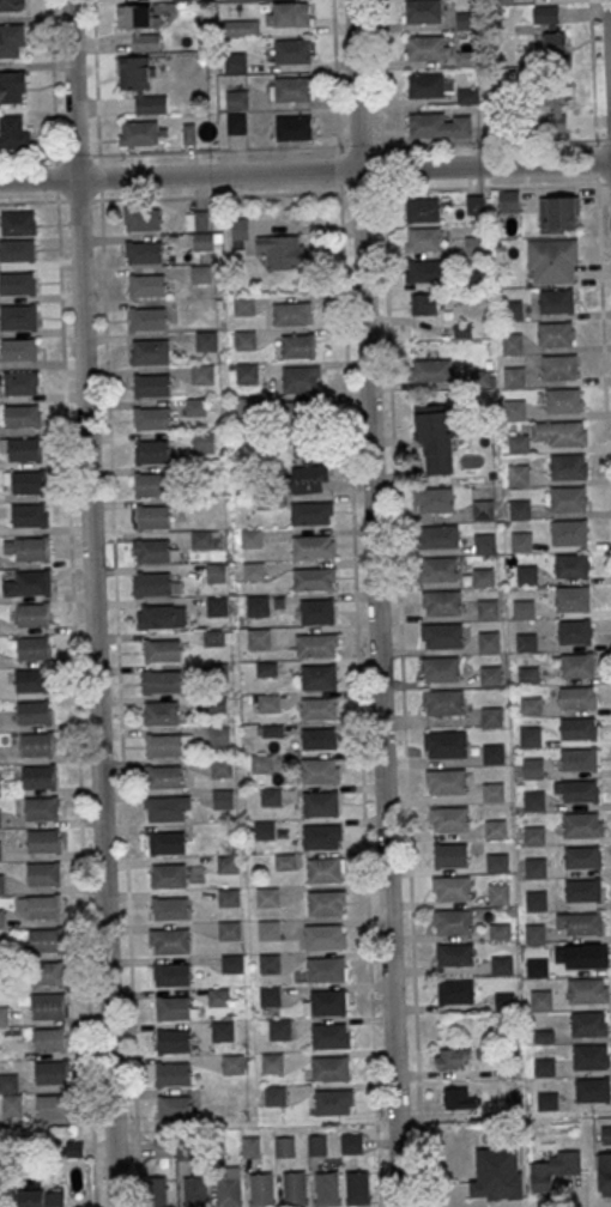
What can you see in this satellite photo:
building: (181, 0)
building: (10, 5)
building: (423, 11)
building: (292, 14)
building: (140, 26)
building: (241, 28)
building: (550, 34)
building: (12, 40)
building: (428, 48)
building: (292, 50)
building: (466, 57)
building: (236, 62)
road: (379, 73)
road: (96, 78)
building: (430, 84)
building: (140, 85)
building: (12, 87)
building: (292, 89)
road: (593, 91)
building: (467, 95)
building: (238, 99)
road: (54, 101)
building: (550, 110)
building: (236, 123)
building: (440, 125)
building: (294, 127)
building: (13, 133)
building: (139, 133)
road: (496, 142)
road: (99, 154)
road: (77, 156)
road: (28, 157)
road: (305, 171)
building: (508, 200)
road: (50, 201)
building: (476, 205)
building: (421, 210)
building: (563, 212)
building: (141, 218)
building: (17, 223)
building: (240, 232)
building: (423, 238)
building: (204, 241)
building: (17, 249)
building: (280, 250)
building: (144, 251)
building: (552, 260)
building: (424, 271)
building: (201, 273)
building: (17, 283)
building: (146, 284)
building: (556, 301)
building: (423, 304)
building: (243, 305)
building: (512, 310)
building: (290, 314)
building: (18, 316)
building: (147, 319)
building: (555, 333)
building: (206, 340)
building: (246, 340)
building: (512, 342)
building: (298, 345)
building: (18, 348)
building: (150, 351)
road: (603, 364)
building: (559, 365)
building: (430, 370)
building: (247, 372)
building: (202, 375)
building: (514, 376)
building: (301, 378)
building: (20, 381)
building: (151, 386)
building: (563, 399)
building: (196, 406)
building: (247, 406)
building: (515, 408)
building: (297, 413)
building: (22, 416)
building: (152, 418)
building: (559, 432)
building: (204, 441)
building: (432, 441)
building: (518, 443)
building: (20, 449)
building: (152, 451)
building: (568, 467)
building: (309, 469)
building: (518, 474)
building: (28, 481)
building: (151, 484)
building: (568, 498)
building: (434, 499)
building: (520, 509)
building: (483, 510)
building: (311, 512)
building: (30, 514)
building: (153, 517)
building: (569, 530)
building: (436, 536)
building: (252, 538)
building: (201, 540)
building: (521, 541)
building: (484, 544)
building: (313, 546)
building: (29, 547)
building: (153, 551)
building: (571, 565)
building: (438, 569)
building: (254, 570)
building: (217, 572)
building: (527, 575)
building: (482, 577)
building: (313, 578)
building: (29, 583)
building: (153, 583)
road: (399, 592)
building: (571, 598)
road: (356, 602)
road: (376, 602)
building: (442, 602)
road: (91, 603)
building: (217, 605)
building: (258, 605)
building: (488, 608)
building: (524, 608)
building: (316, 611)
building: (32, 614)
building: (161, 615)
building: (573, 631)
building: (442, 635)
building: (214, 637)
building: (259, 639)
building: (489, 642)
building: (525, 642)
building: (316, 644)
building: (34, 648)
building: (162, 650)
building: (577, 665)
building: (440, 667)
building: (489, 675)
building: (528, 675)
building: (319, 677)
building: (31, 680)
building: (161, 680)
building: (576, 697)
building: (442, 702)
road: (120, 703)
building: (268, 703)
road: (77, 704)
building: (217, 704)
building: (531, 705)
building: (319, 708)
building: (34, 712)
building: (161, 712)
building: (491, 716)
building: (579, 728)
building: (219, 734)
building: (530, 736)
building: (320, 739)
building: (37, 744)
building: (444, 744)
building: (163, 745)
building: (494, 753)
building: (579, 758)
building: (262, 764)
building: (222, 766)
building: (532, 768)
building: (320, 770)
building: (40, 776)
building: (163, 776)
building: (446, 781)
building: (0, 784)
building: (576, 789)
building: (492, 791)
building: (270, 795)
building: (223, 797)
building: (534, 800)
building: (321, 803)
building: (41, 807)
building: (165, 807)
building: (0, 818)
building: (449, 818)
building: (580, 823)
building: (495, 829)
building: (264, 830)
building: (533, 835)
building: (321, 837)
building: (43, 839)
building: (168, 843)
building: (0, 850)
building: (450, 855)
building: (581, 856)
building: (286, 862)
building: (497, 862)
building: (228, 863)
building: (536, 867)
building: (325, 871)
building: (44, 873)
building: (169, 874)
building: (1, 884)
building: (452, 887)
building: (582, 888)
building: (498, 892)
building: (229, 897)
building: (267, 897)
building: (537, 899)
building: (326, 903)
building: (43, 906)
building: (171, 908)
building: (1, 917)
building: (452, 920)
building: (580, 922)
building: (268, 929)
building: (229, 930)
building: (500, 930)
building: (534, 934)
building: (325, 936)
building: (46, 940)
building: (170, 940)
building: (455, 954)
building: (586, 956)
building: (231, 963)
building: (268, 963)
building: (502, 964)
building: (537, 968)
building: (326, 970)
building: (46, 974)
building: (173, 975)
building: (587, 989)
building: (459, 991)
building: (270, 995)
building: (219, 996)
building: (542, 1000)
building: (504, 1001)
building: (329, 1002)
building: (48, 1006)
building: (173, 1006)
building: (4, 1015)
building: (588, 1023)
building: (279, 1029)
building: (223, 1030)
building: (329, 1036)
building: (49, 1039)
building: (174, 1041)
building: (589, 1056)
building: (452, 1057)
building: (272, 1062)
building: (232, 1063)
building: (544, 1067)
building: (329, 1068)
building: (53, 1072)
building: (173, 1073)
building: (10, 1082)
building: (593, 1090)
building: (274, 1096)
building: (459, 1099)
building: (333, 1100)
building: (548, 1100)
building: (12, 1105)
building: (54, 1105)
building: (175, 1106)
building: (606, 1134)
building: (351, 1142)
building: (316, 1145)
building: (252, 1146)
building: (285, 1146)
building: (213, 1147)
building: (163, 1148)
building: (184, 1148)
building: (553, 1169)
building: (498, 1173)
building: (604, 1173)
building: (357, 1187)
building: (294, 1188)
building: (326, 1188)
building: (261, 1189)
building: (229, 1190)
building: (157, 1191)
building: (195, 1191)
building: (41, 1197)

